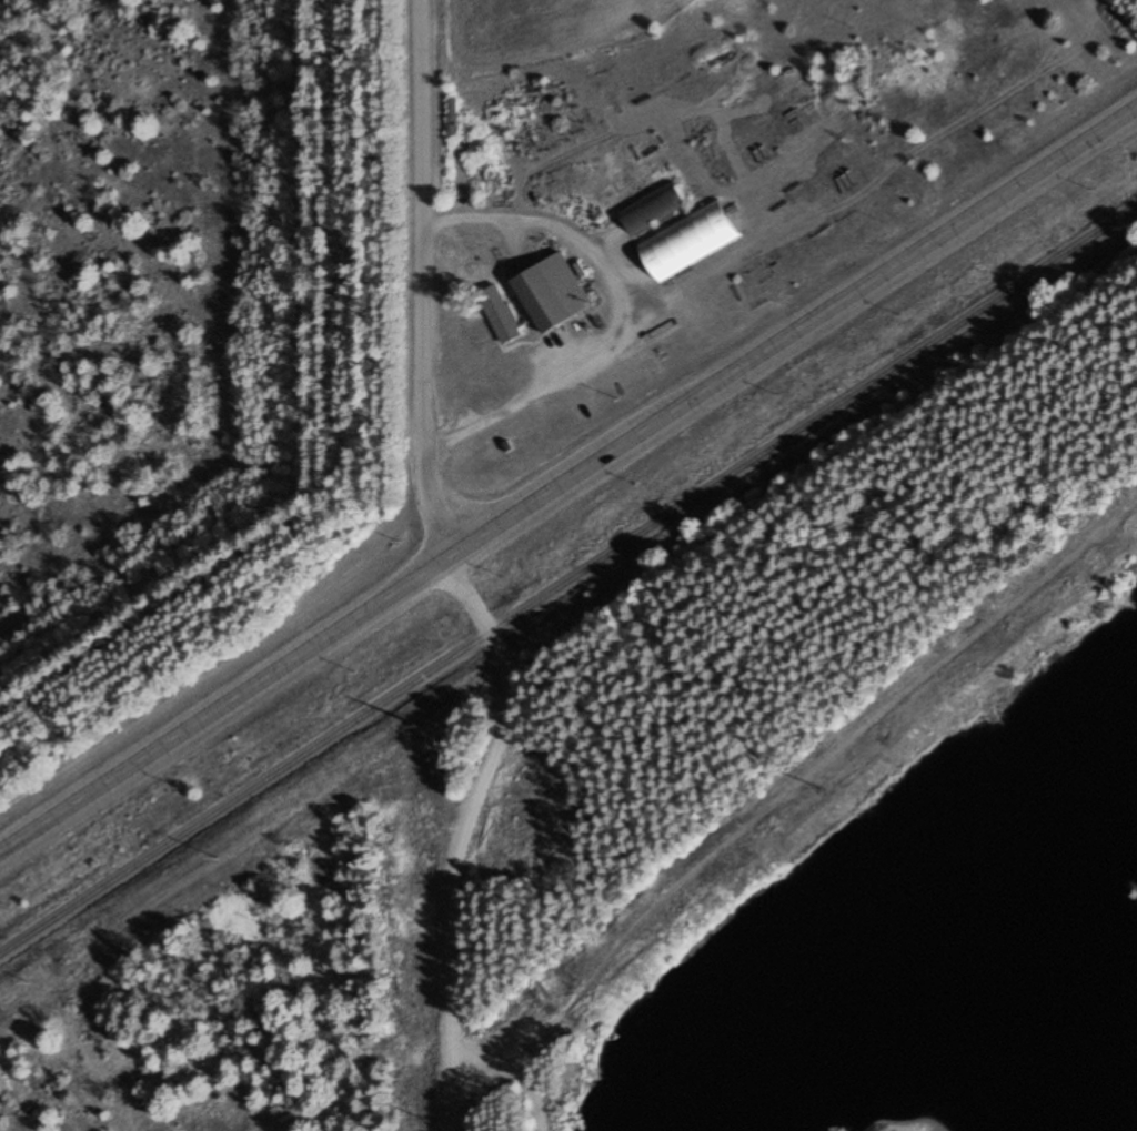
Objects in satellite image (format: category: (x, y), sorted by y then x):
building: (653, 208)
road: (425, 279)
airport: (128, 290)
building: (552, 293)
road: (568, 479)
railway: (567, 582)
road: (464, 834)

